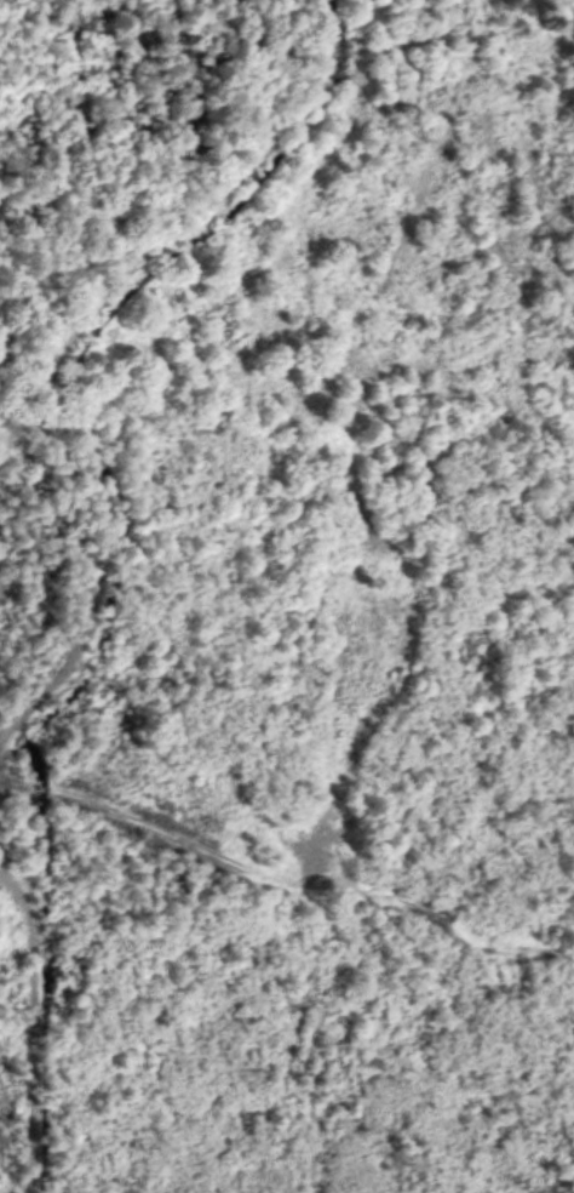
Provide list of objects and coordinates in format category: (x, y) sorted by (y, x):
road: (71, 346)

